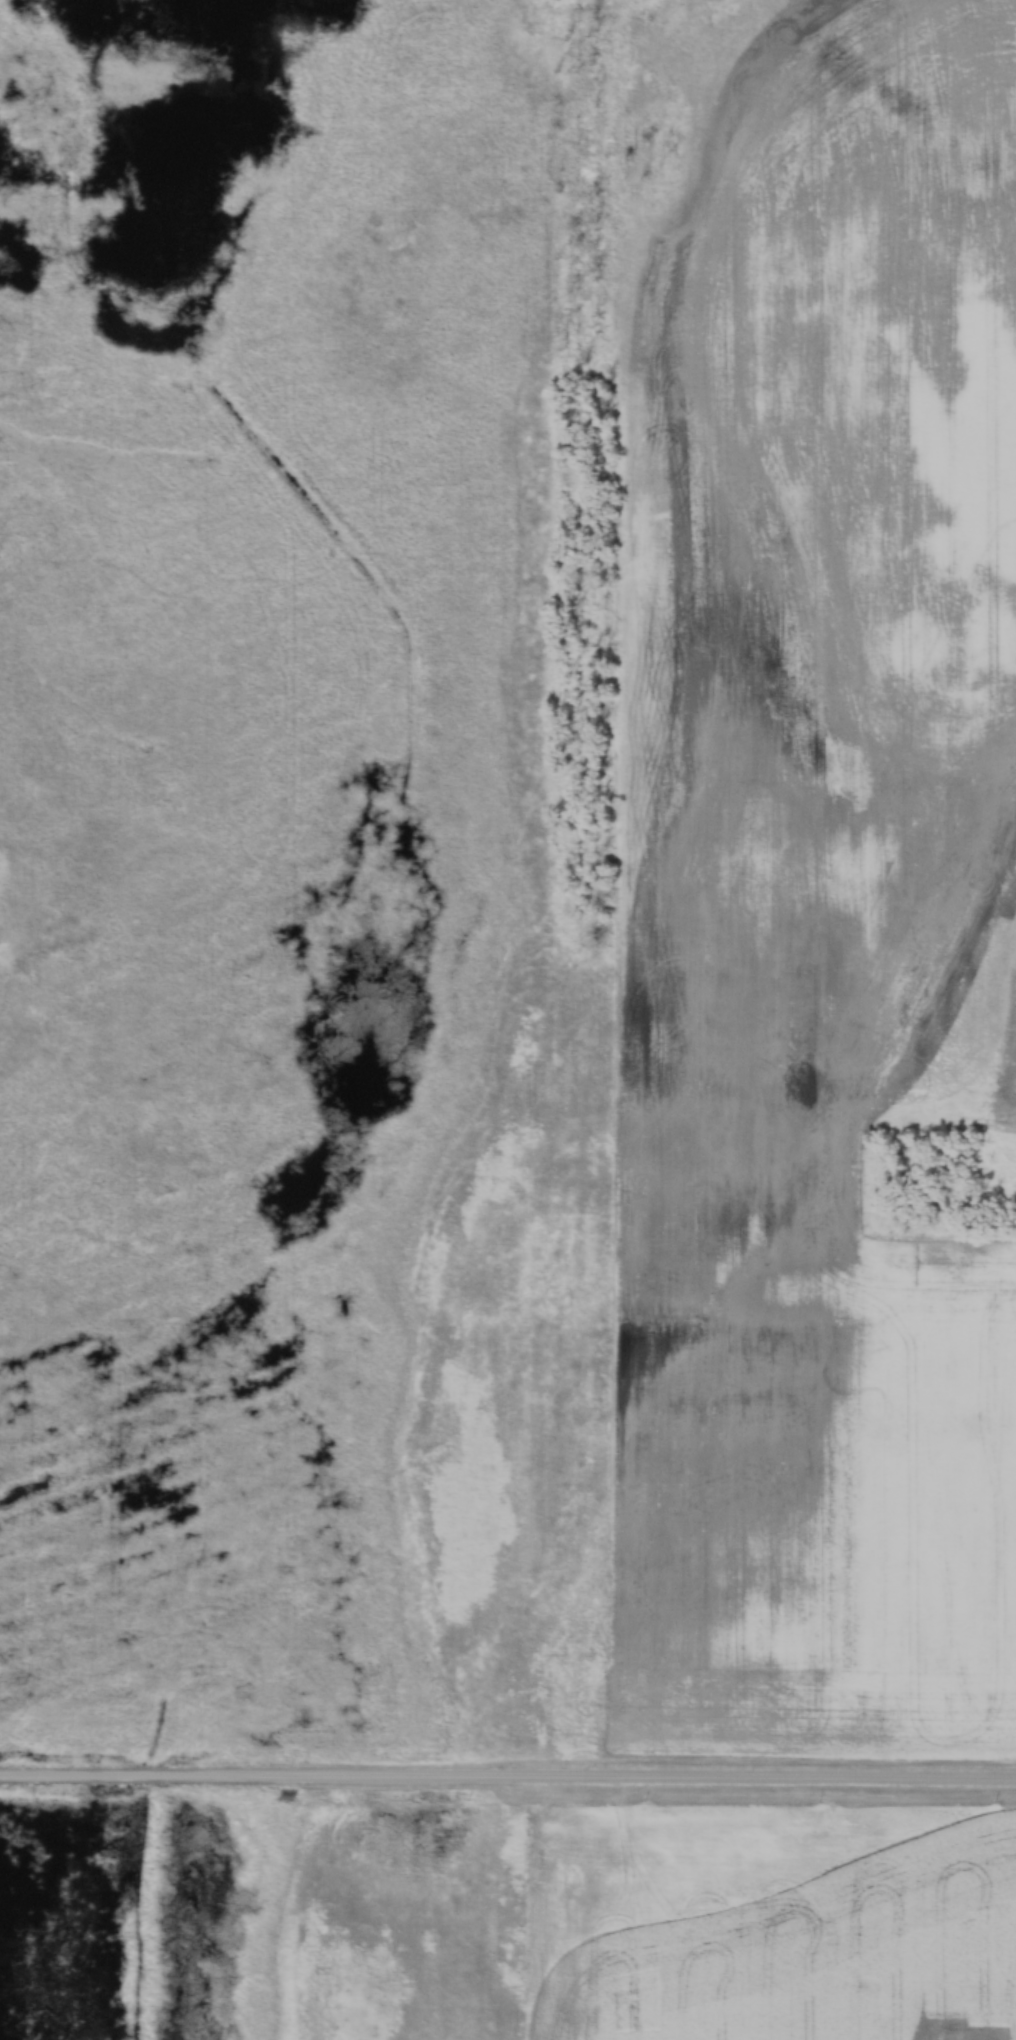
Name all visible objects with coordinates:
road: (508, 1777)

